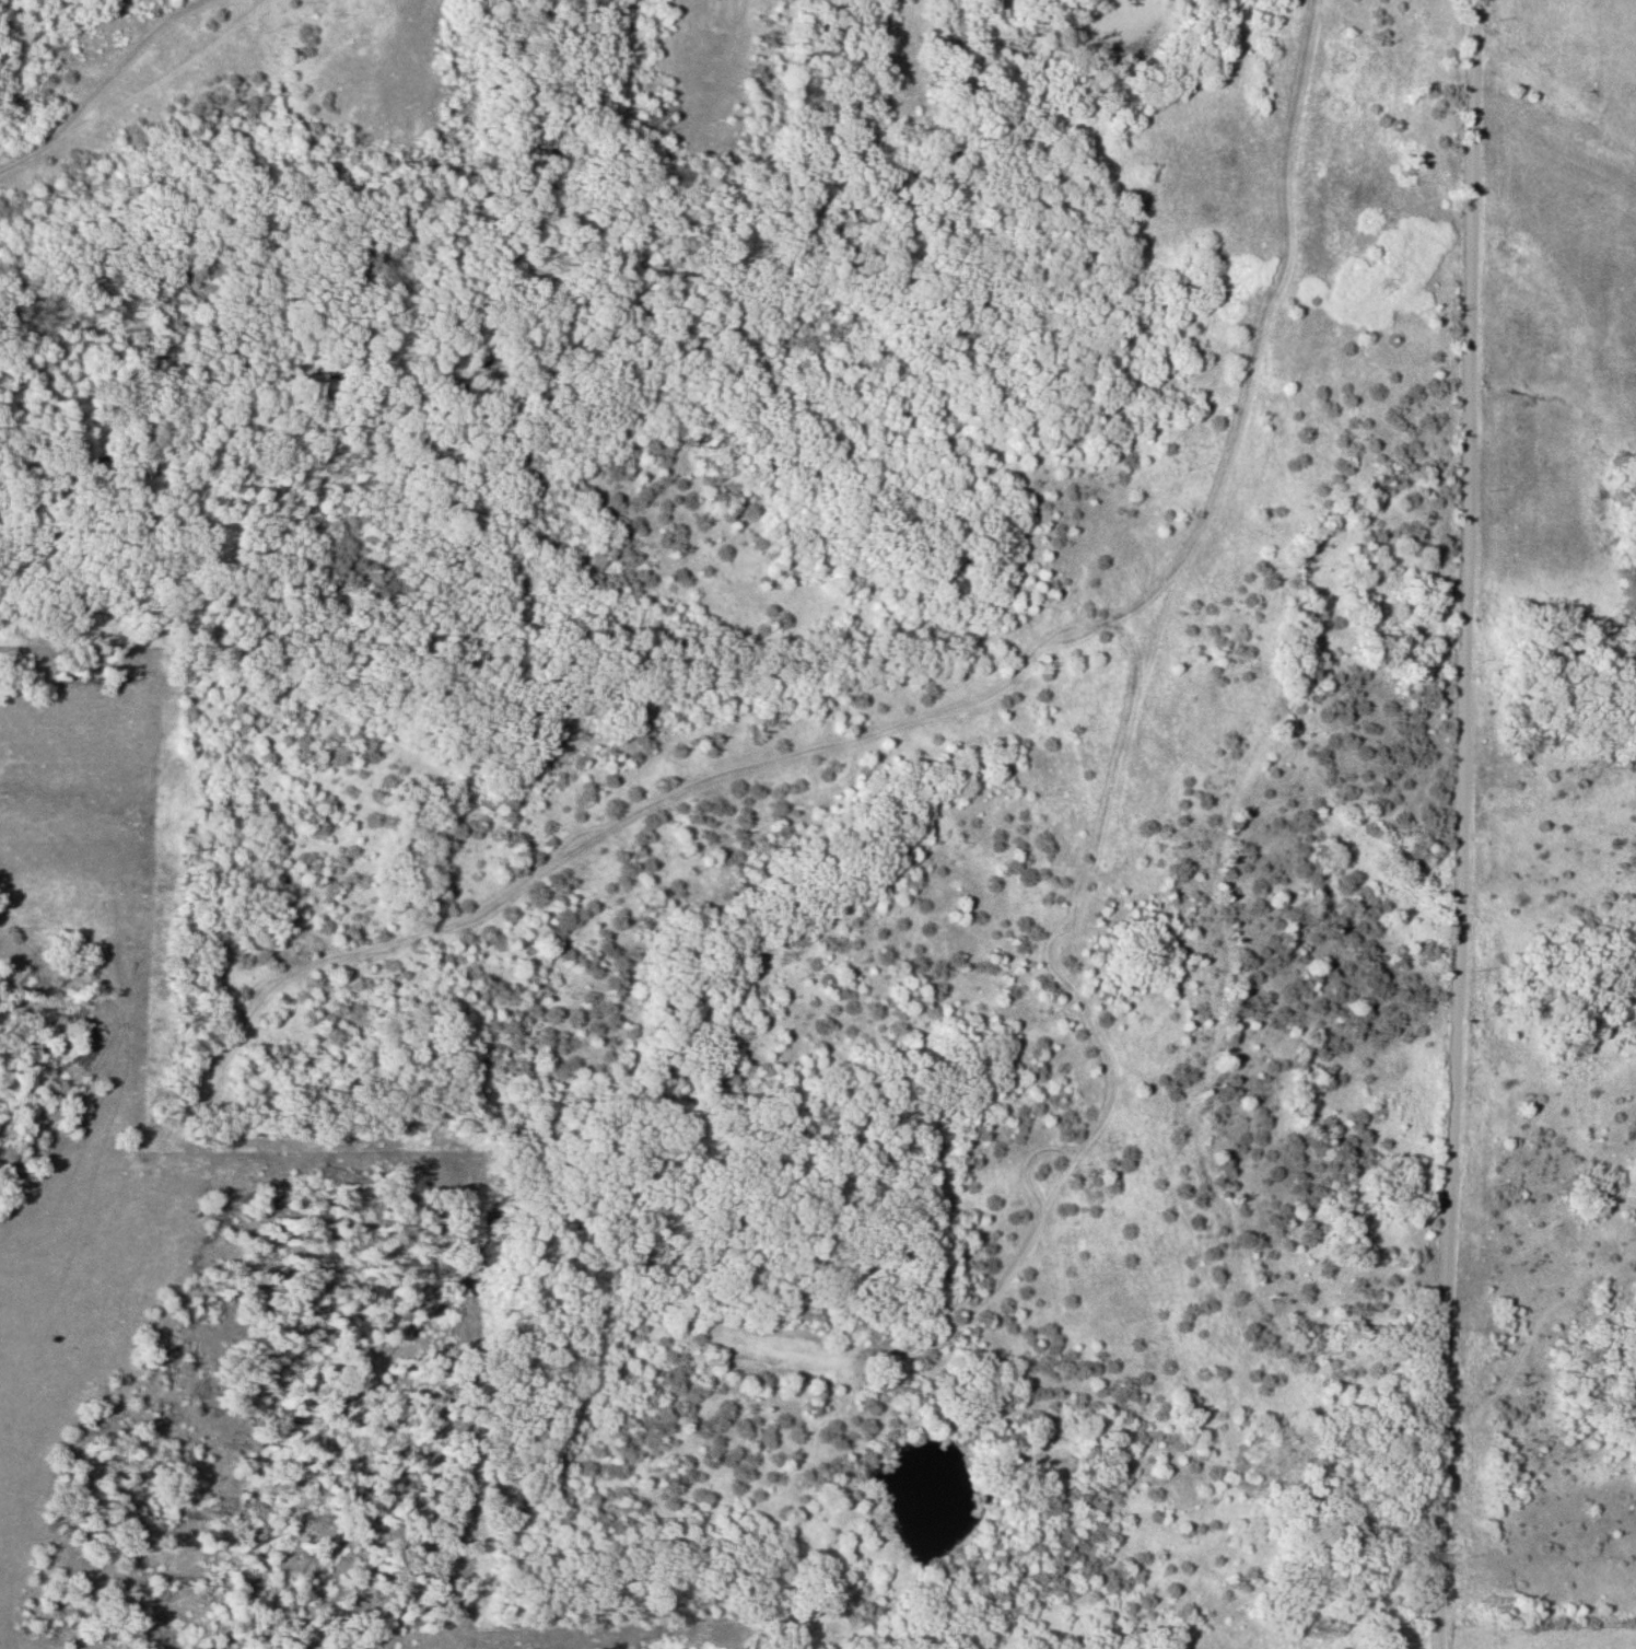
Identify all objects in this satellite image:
road: (1465, 824)

